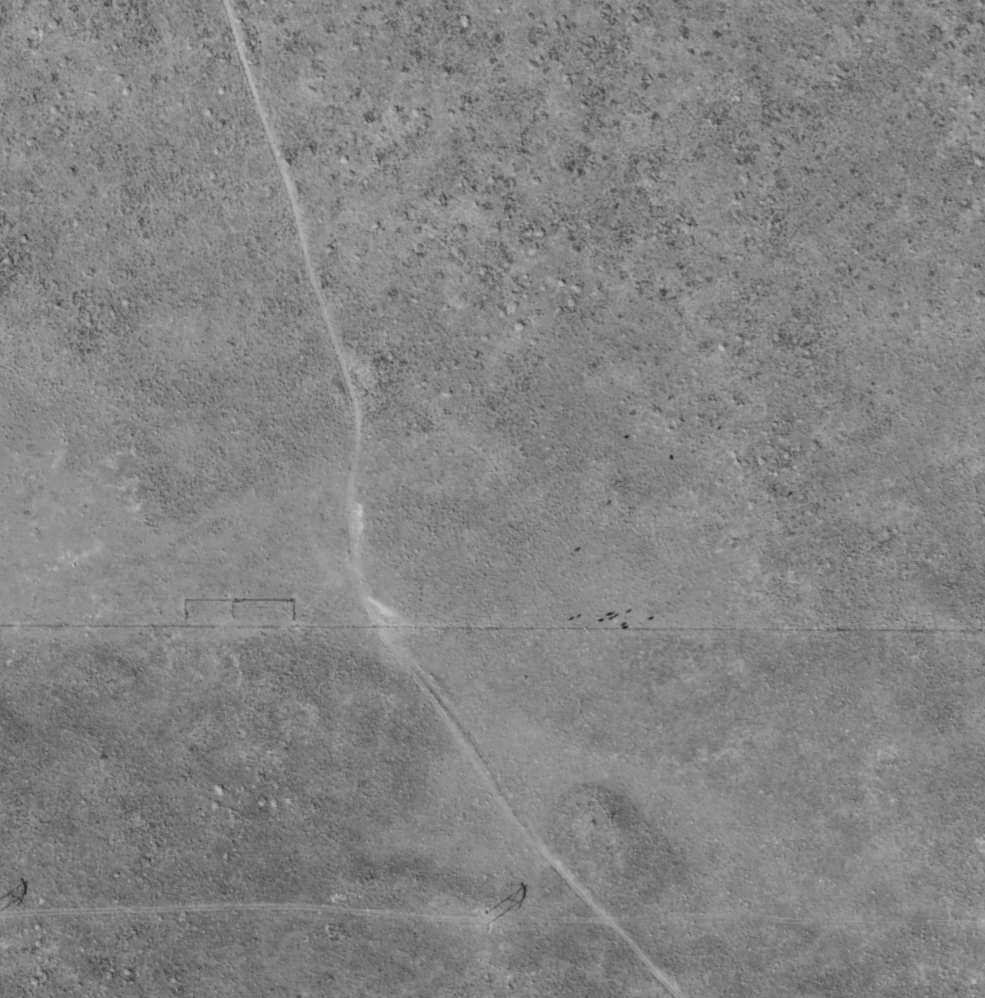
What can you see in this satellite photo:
power tower: (484, 923)

